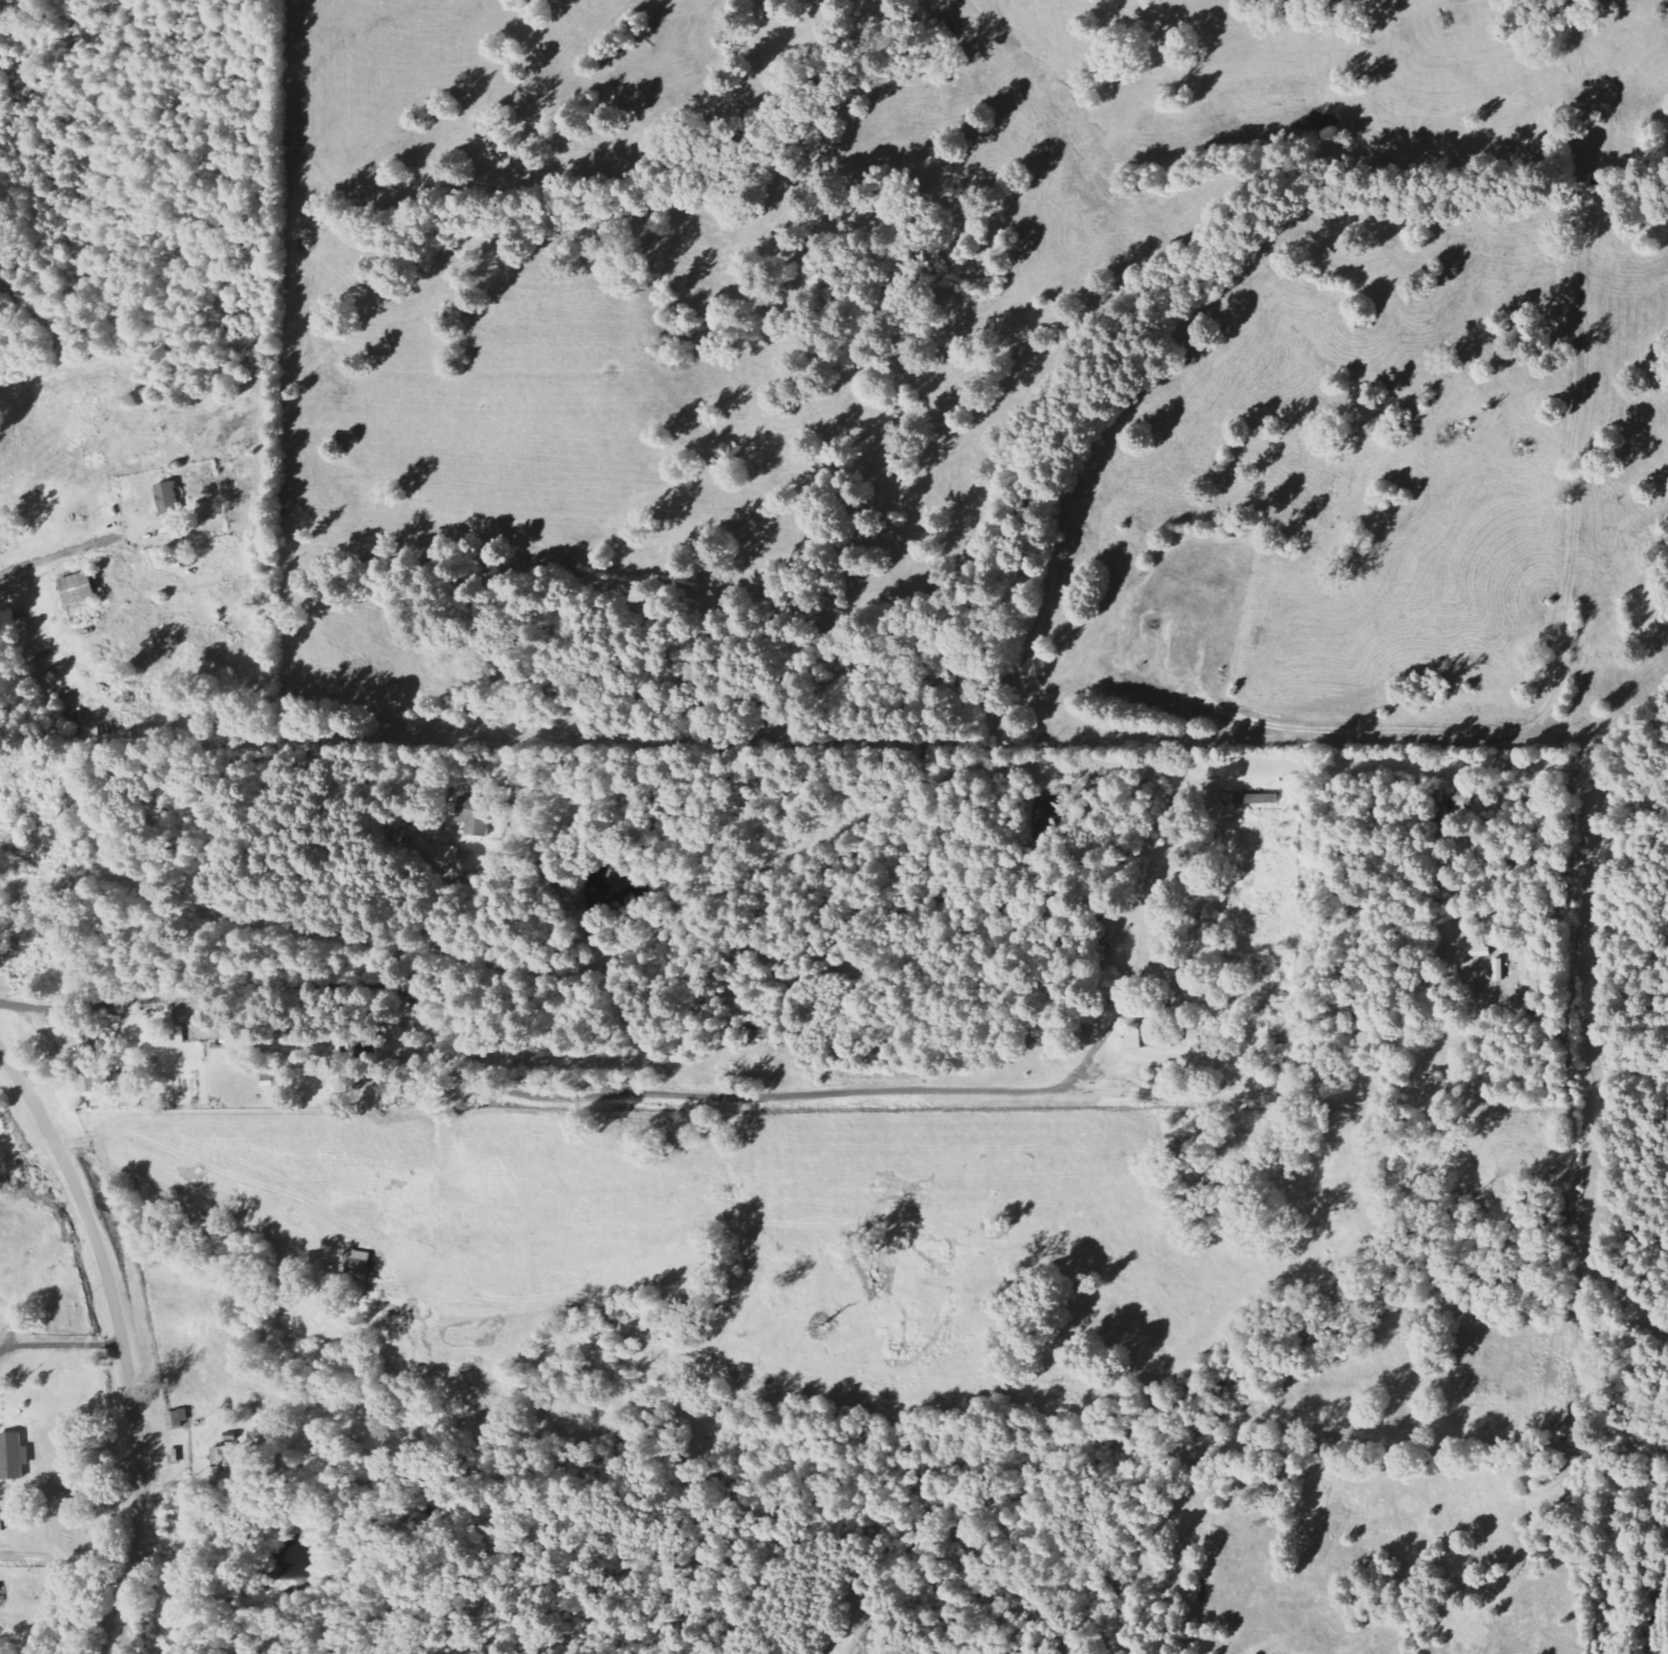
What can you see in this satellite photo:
building: (170, 497)
building: (78, 588)
building: (1256, 798)
building: (475, 815)
building: (1050, 1031)
building: (1140, 1035)
building: (1244, 1062)
building: (91, 1078)
road: (618, 1093)
building: (359, 1266)
road: (122, 1338)
building: (13, 1456)
building: (1, 1523)

